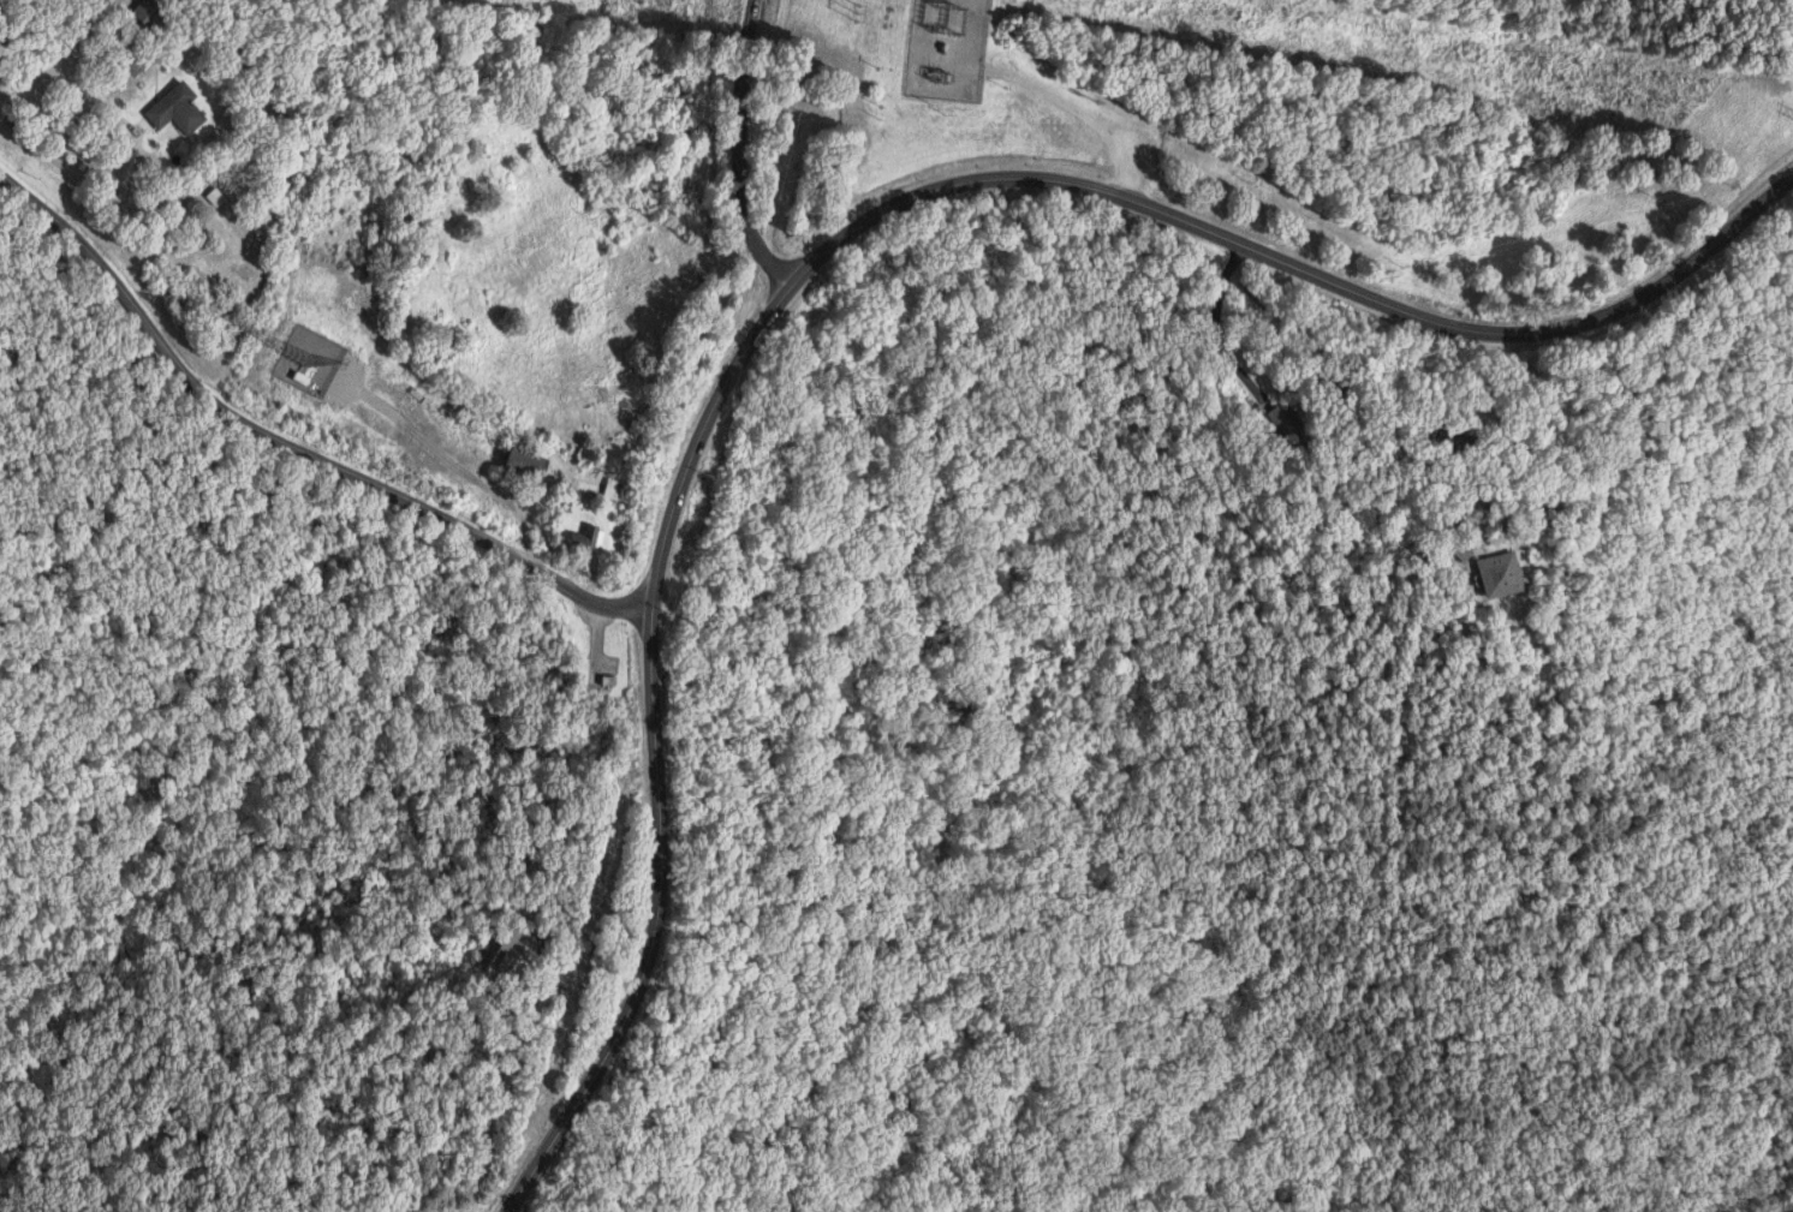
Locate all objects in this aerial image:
power tower: (857, 11)
building: (149, 14)
power substation: (949, 49)
road: (61, 55)
road: (1068, 105)
building: (177, 109)
road: (740, 149)
road: (144, 185)
road: (834, 244)
road: (1235, 257)
road: (1223, 339)
road: (1339, 368)
building: (304, 378)
road: (659, 407)
building: (1291, 425)
road: (287, 447)
road: (448, 456)
building: (526, 467)
road: (1502, 531)
building: (589, 537)
building: (1507, 574)
building: (520, 954)
road: (501, 1087)
road: (548, 1187)

